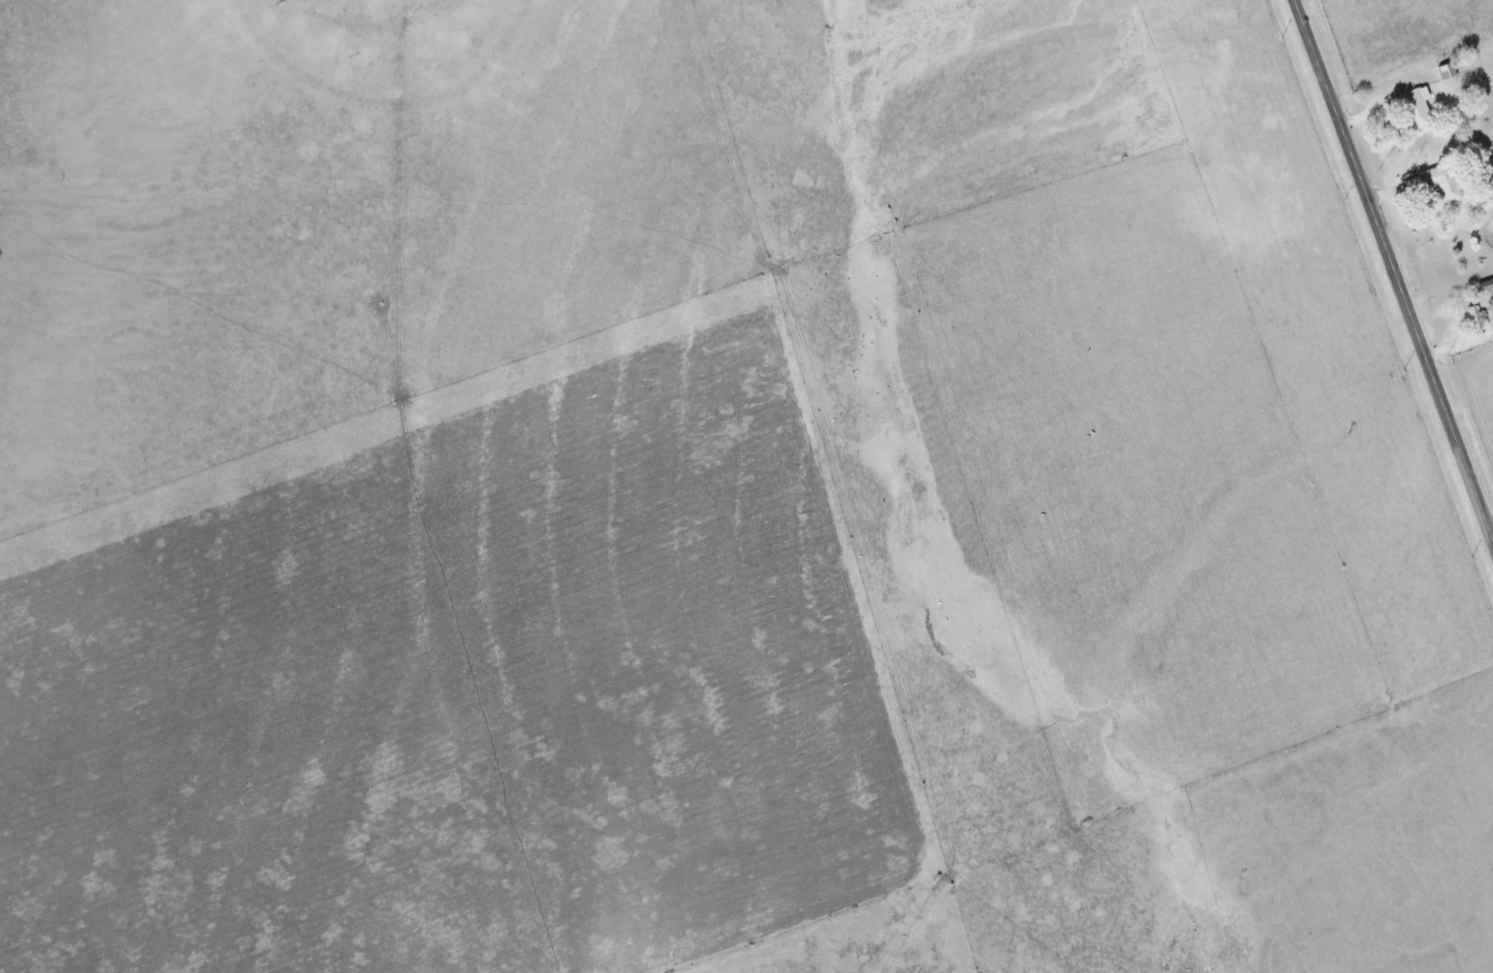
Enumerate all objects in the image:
building: (1416, 106)
building: (1443, 183)
road: (1395, 266)
building: (1486, 284)

